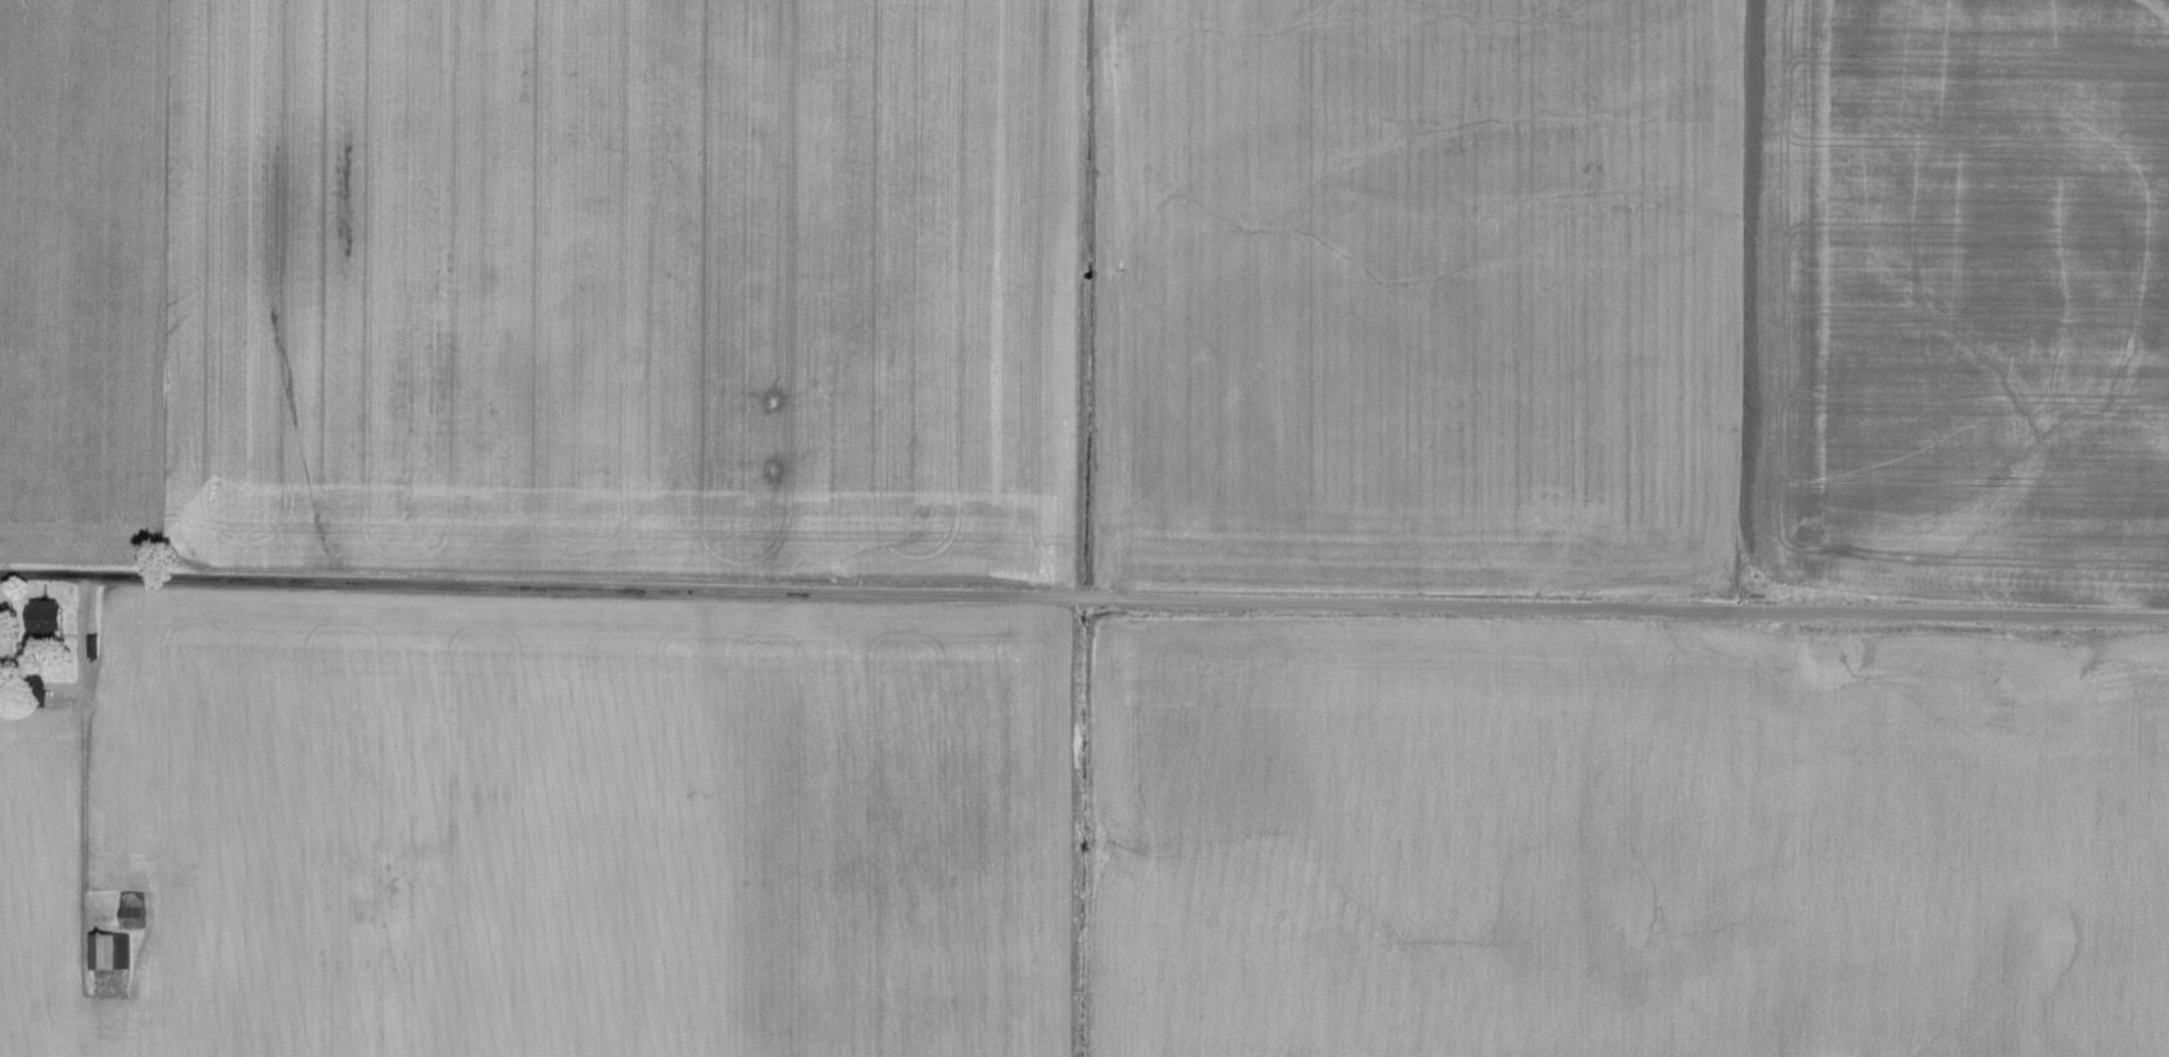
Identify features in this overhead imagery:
road: (1084, 597)
building: (48, 620)
building: (136, 910)
building: (112, 951)

